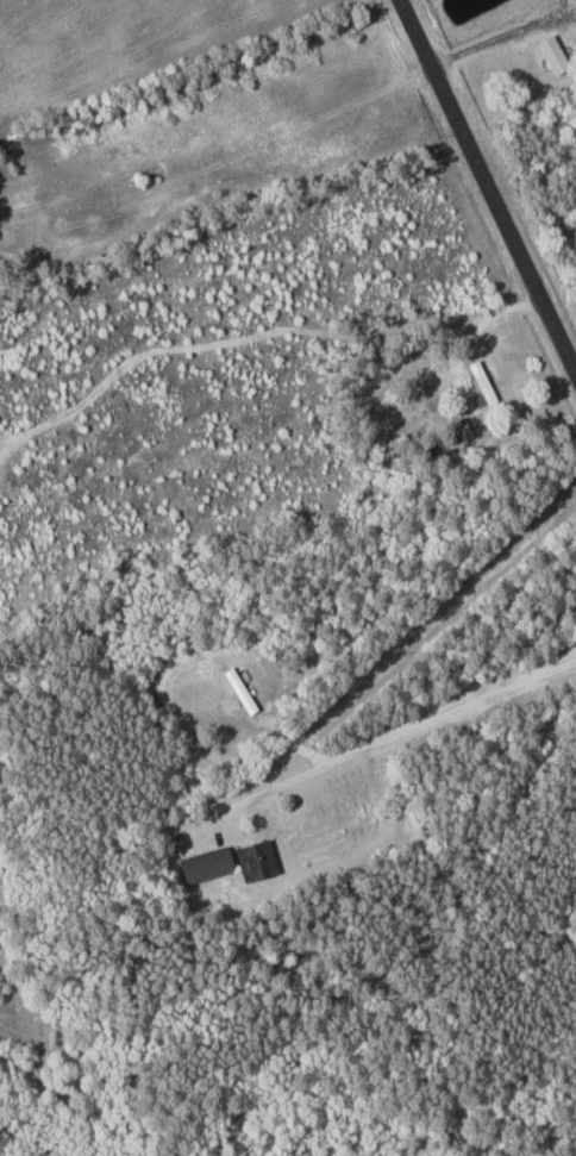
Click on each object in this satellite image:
building: (555, 54)
road: (488, 183)
building: (484, 383)
building: (257, 861)
building: (208, 864)

